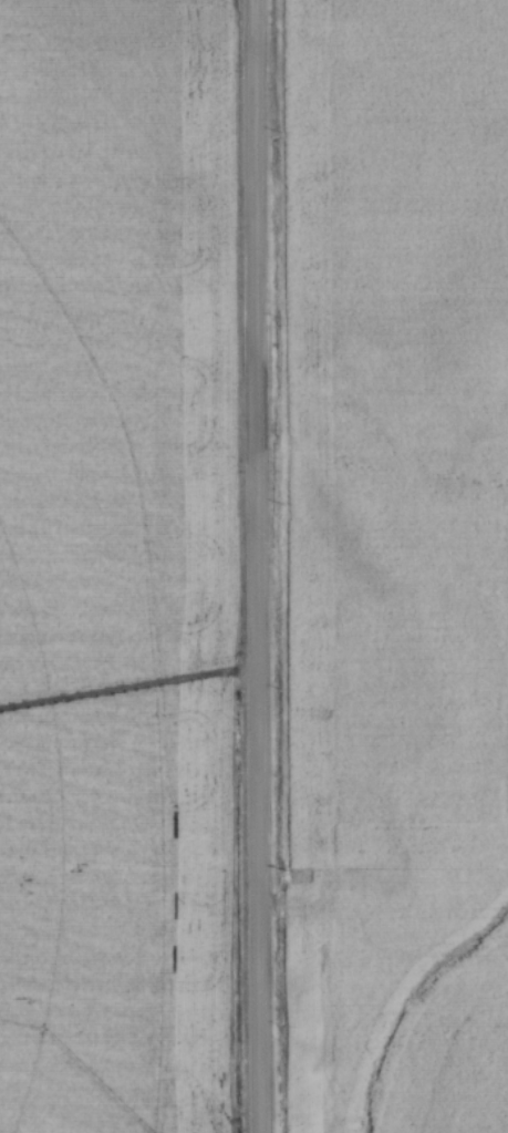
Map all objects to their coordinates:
road: (257, 566)

